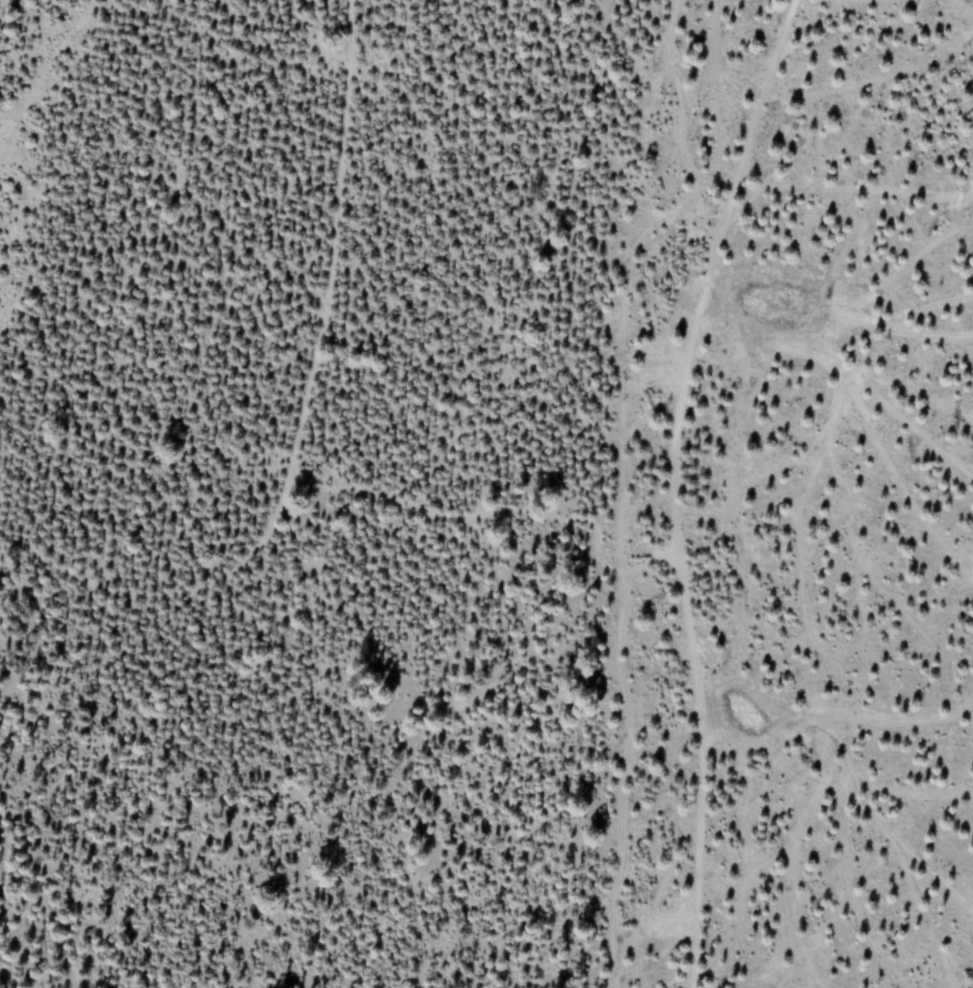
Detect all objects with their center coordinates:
road: (301, 422)
road: (674, 486)

